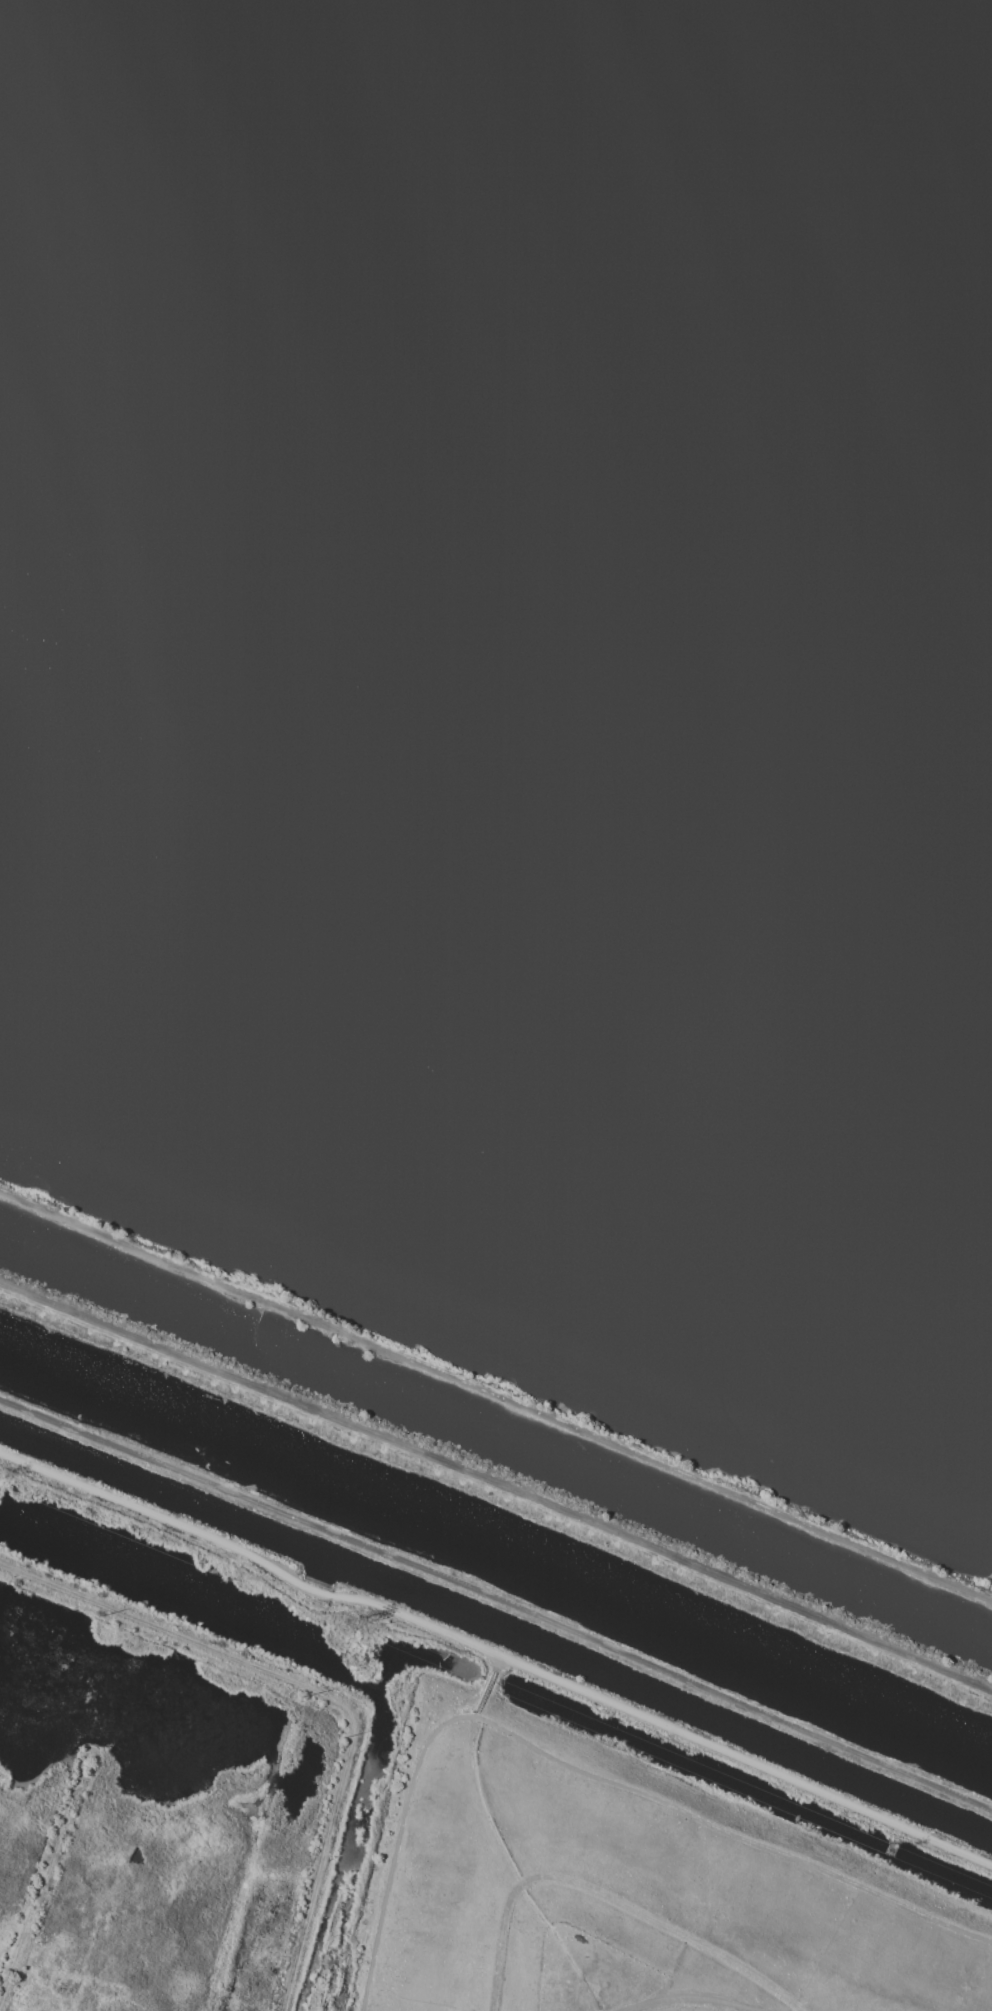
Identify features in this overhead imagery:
road: (496, 1394)
road: (496, 1487)
road: (250, 1557)
road: (498, 1599)
power tower: (346, 1626)
road: (487, 1686)
road: (746, 1758)
road: (576, 1770)
power tower: (892, 1852)
road: (515, 1870)
landfill: (615, 1889)
road: (608, 1893)
road: (692, 1995)

